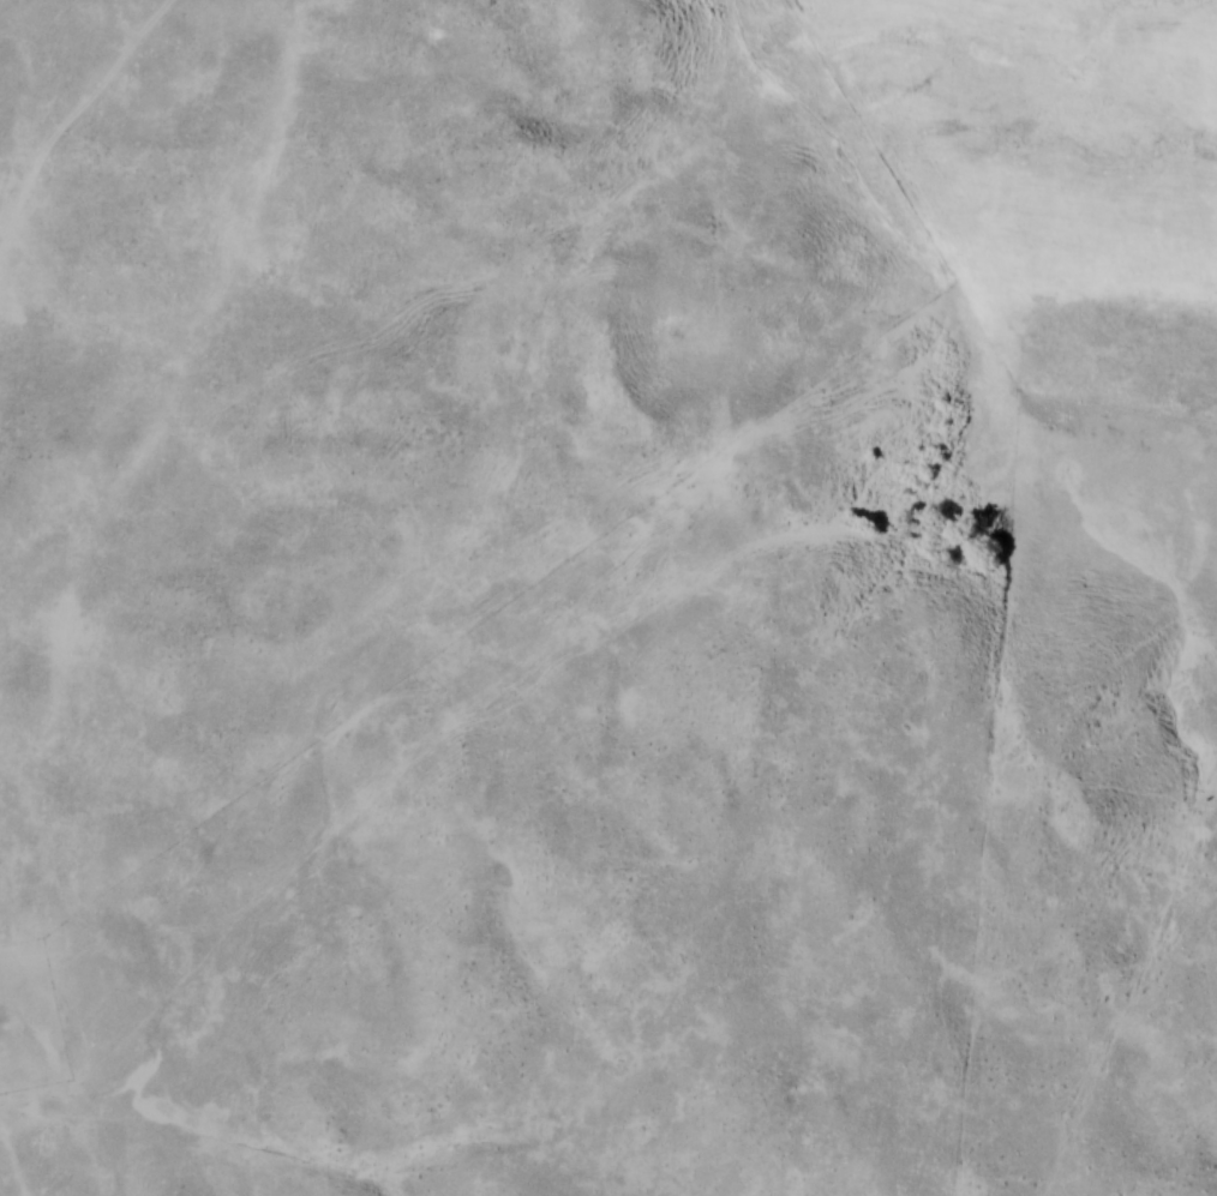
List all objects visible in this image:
airport runway: (1126, 420)

